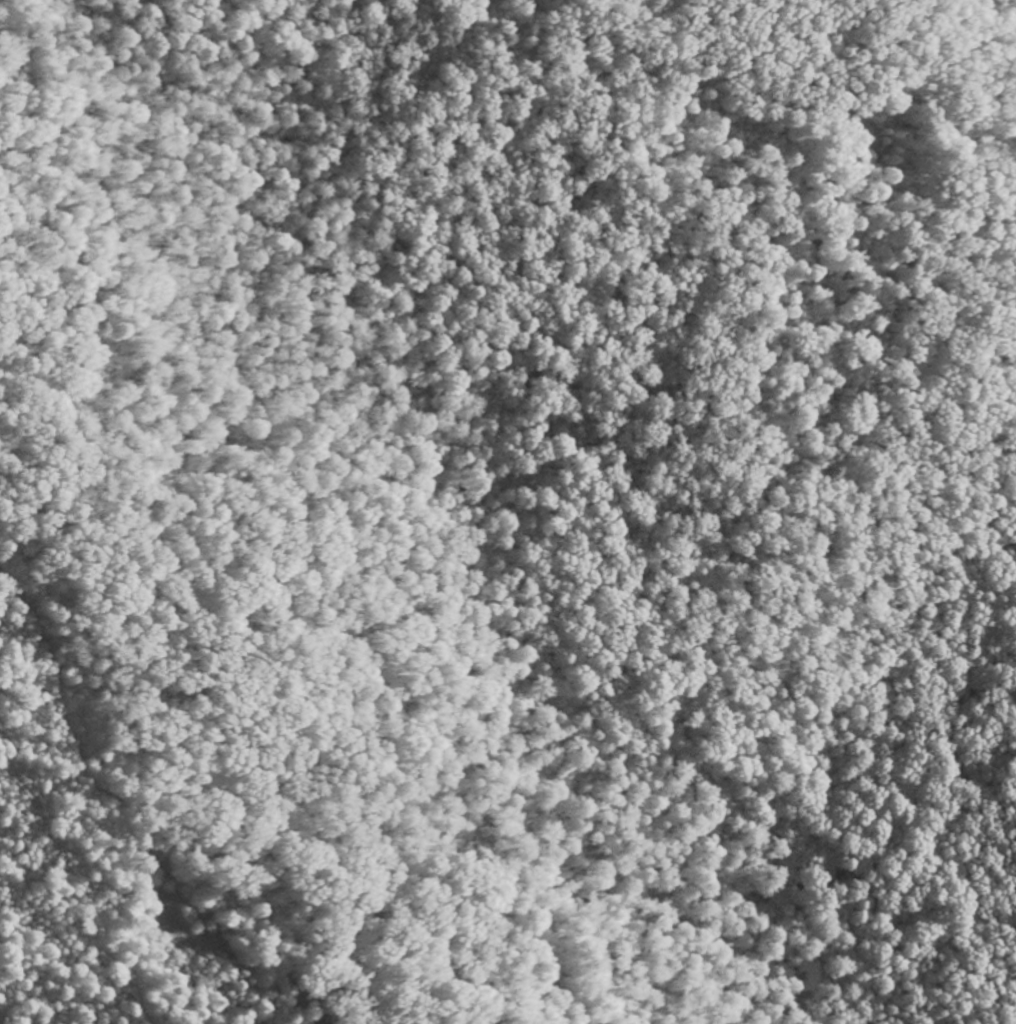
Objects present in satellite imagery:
road: (855, 113)

